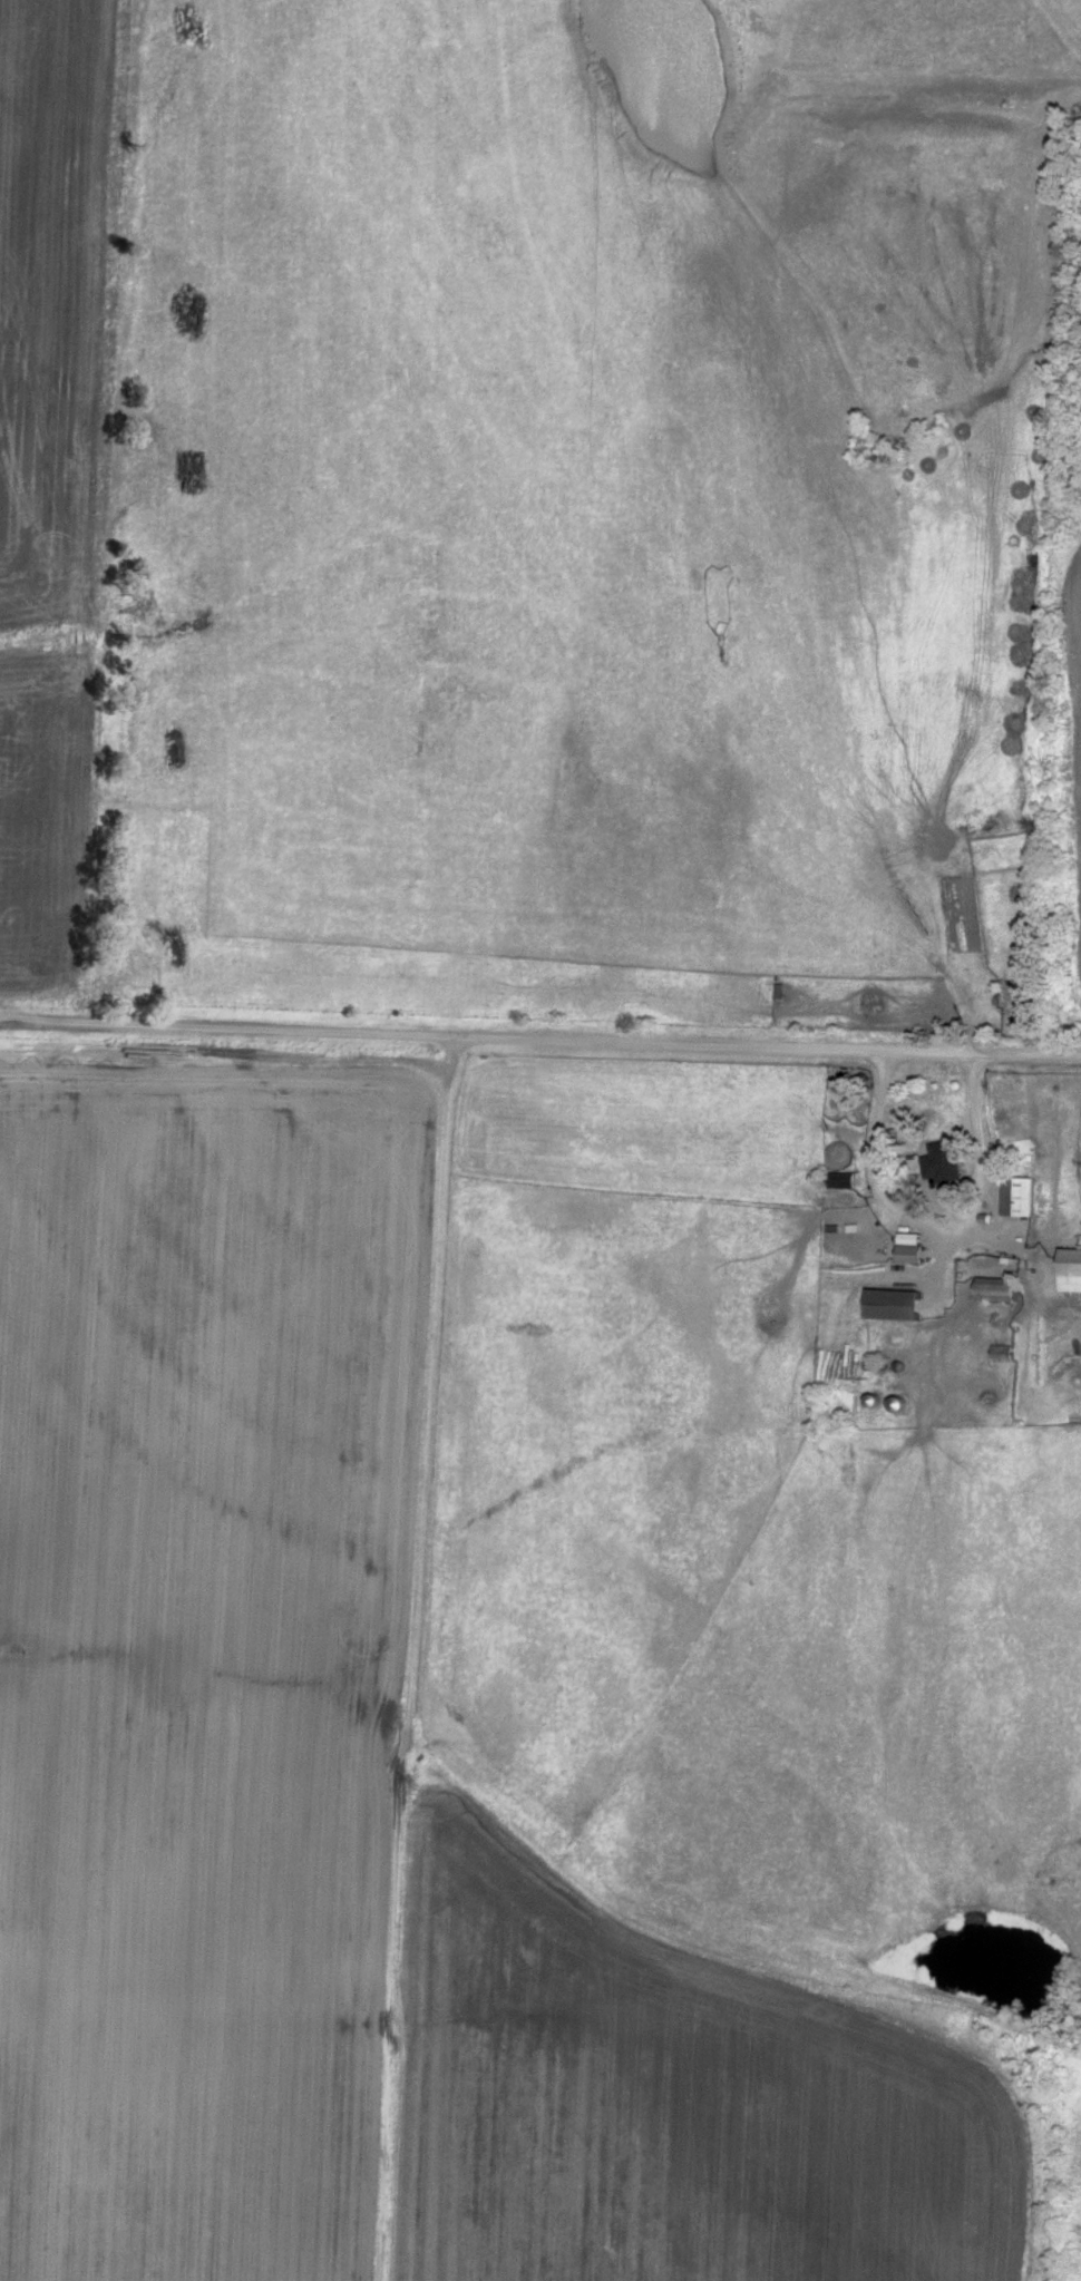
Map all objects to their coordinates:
road: (539, 1039)
building: (944, 1162)
building: (840, 1180)
building: (1021, 1197)
road: (936, 1236)
building: (913, 1255)
building: (1071, 1271)
building: (997, 1290)
building: (896, 1306)
building: (1003, 1354)

